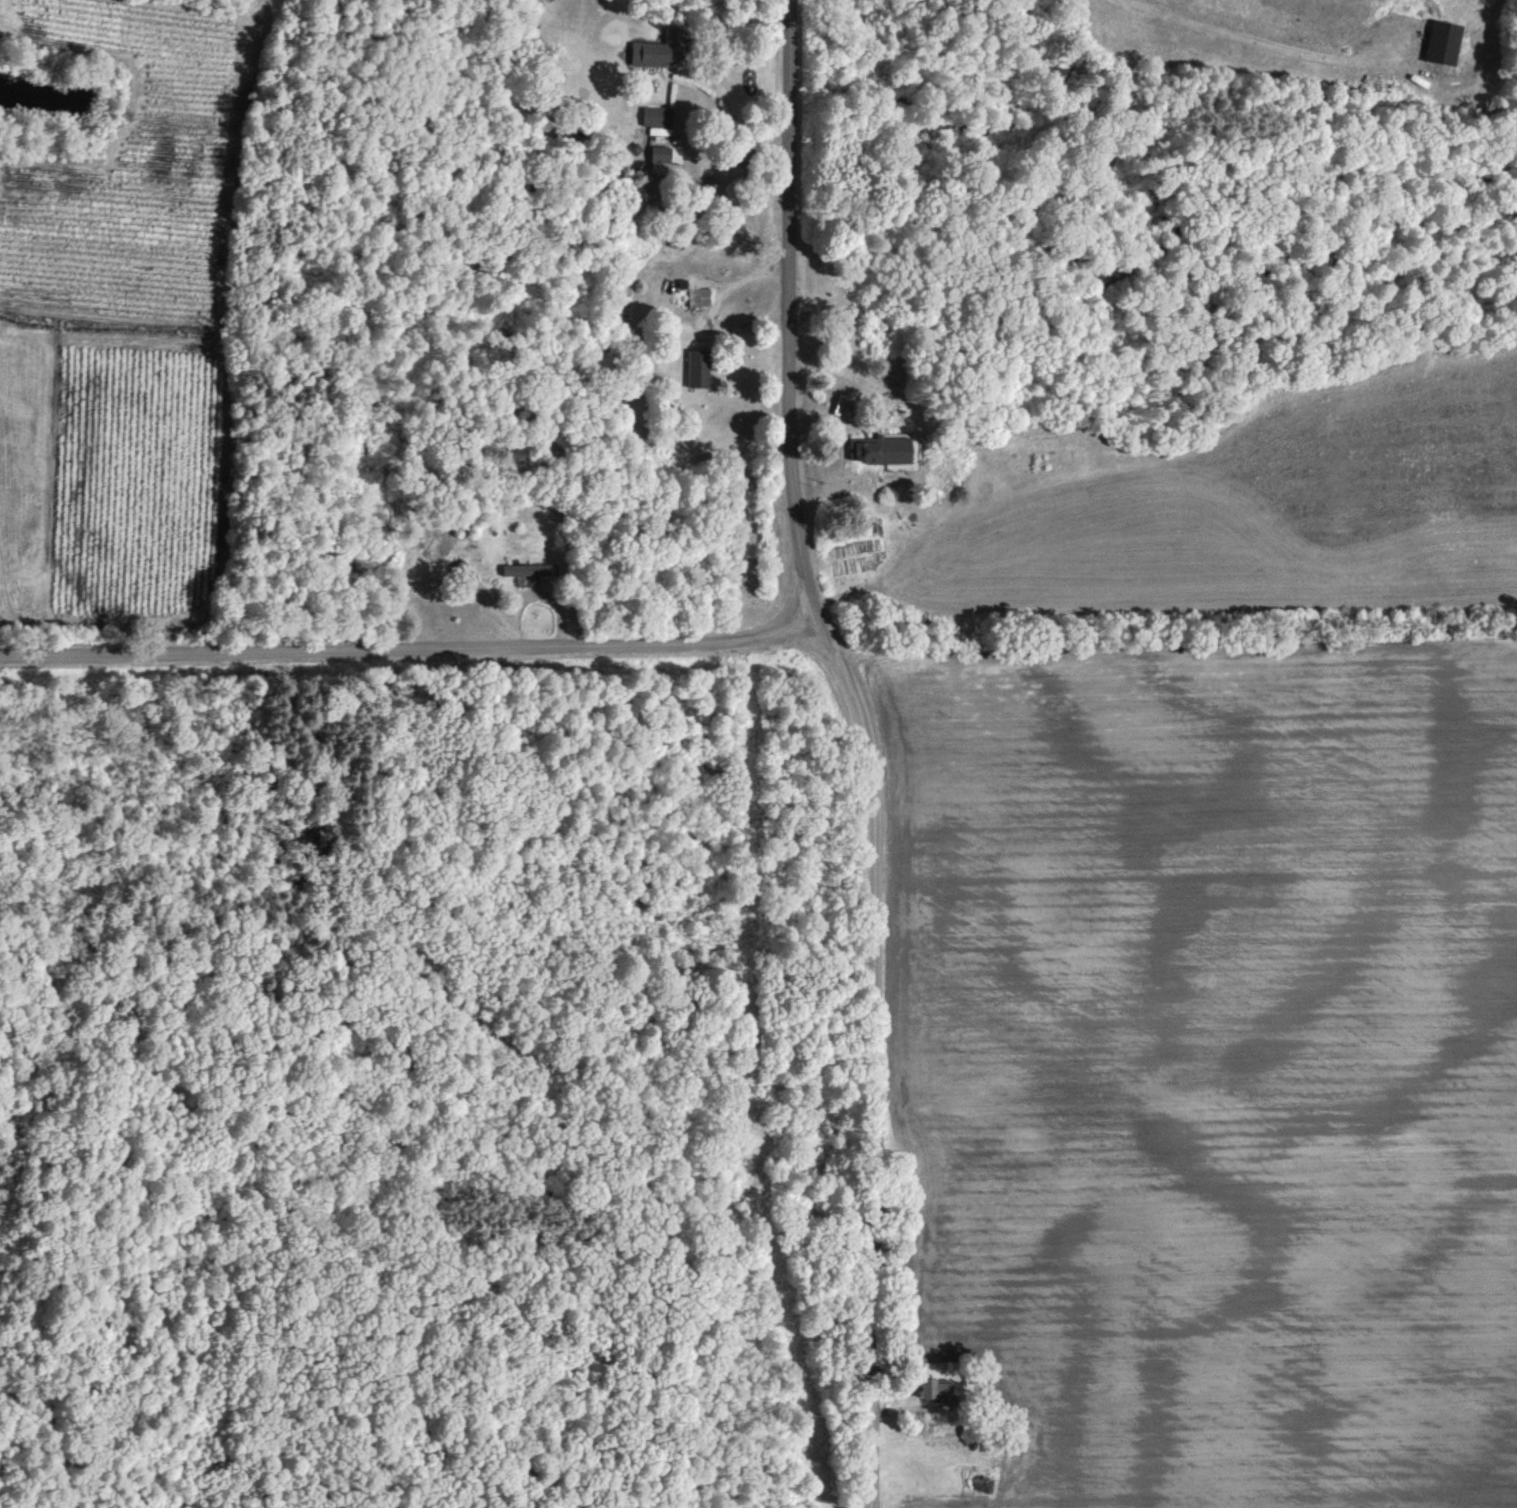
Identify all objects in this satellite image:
building: (1443, 42)
building: (659, 49)
building: (658, 119)
road: (734, 137)
building: (666, 158)
building: (699, 297)
road: (789, 319)
building: (698, 368)
building: (882, 449)
building: (525, 568)
road: (412, 649)
crop: (1207, 1064)
road: (873, 1066)
building: (936, 1387)

